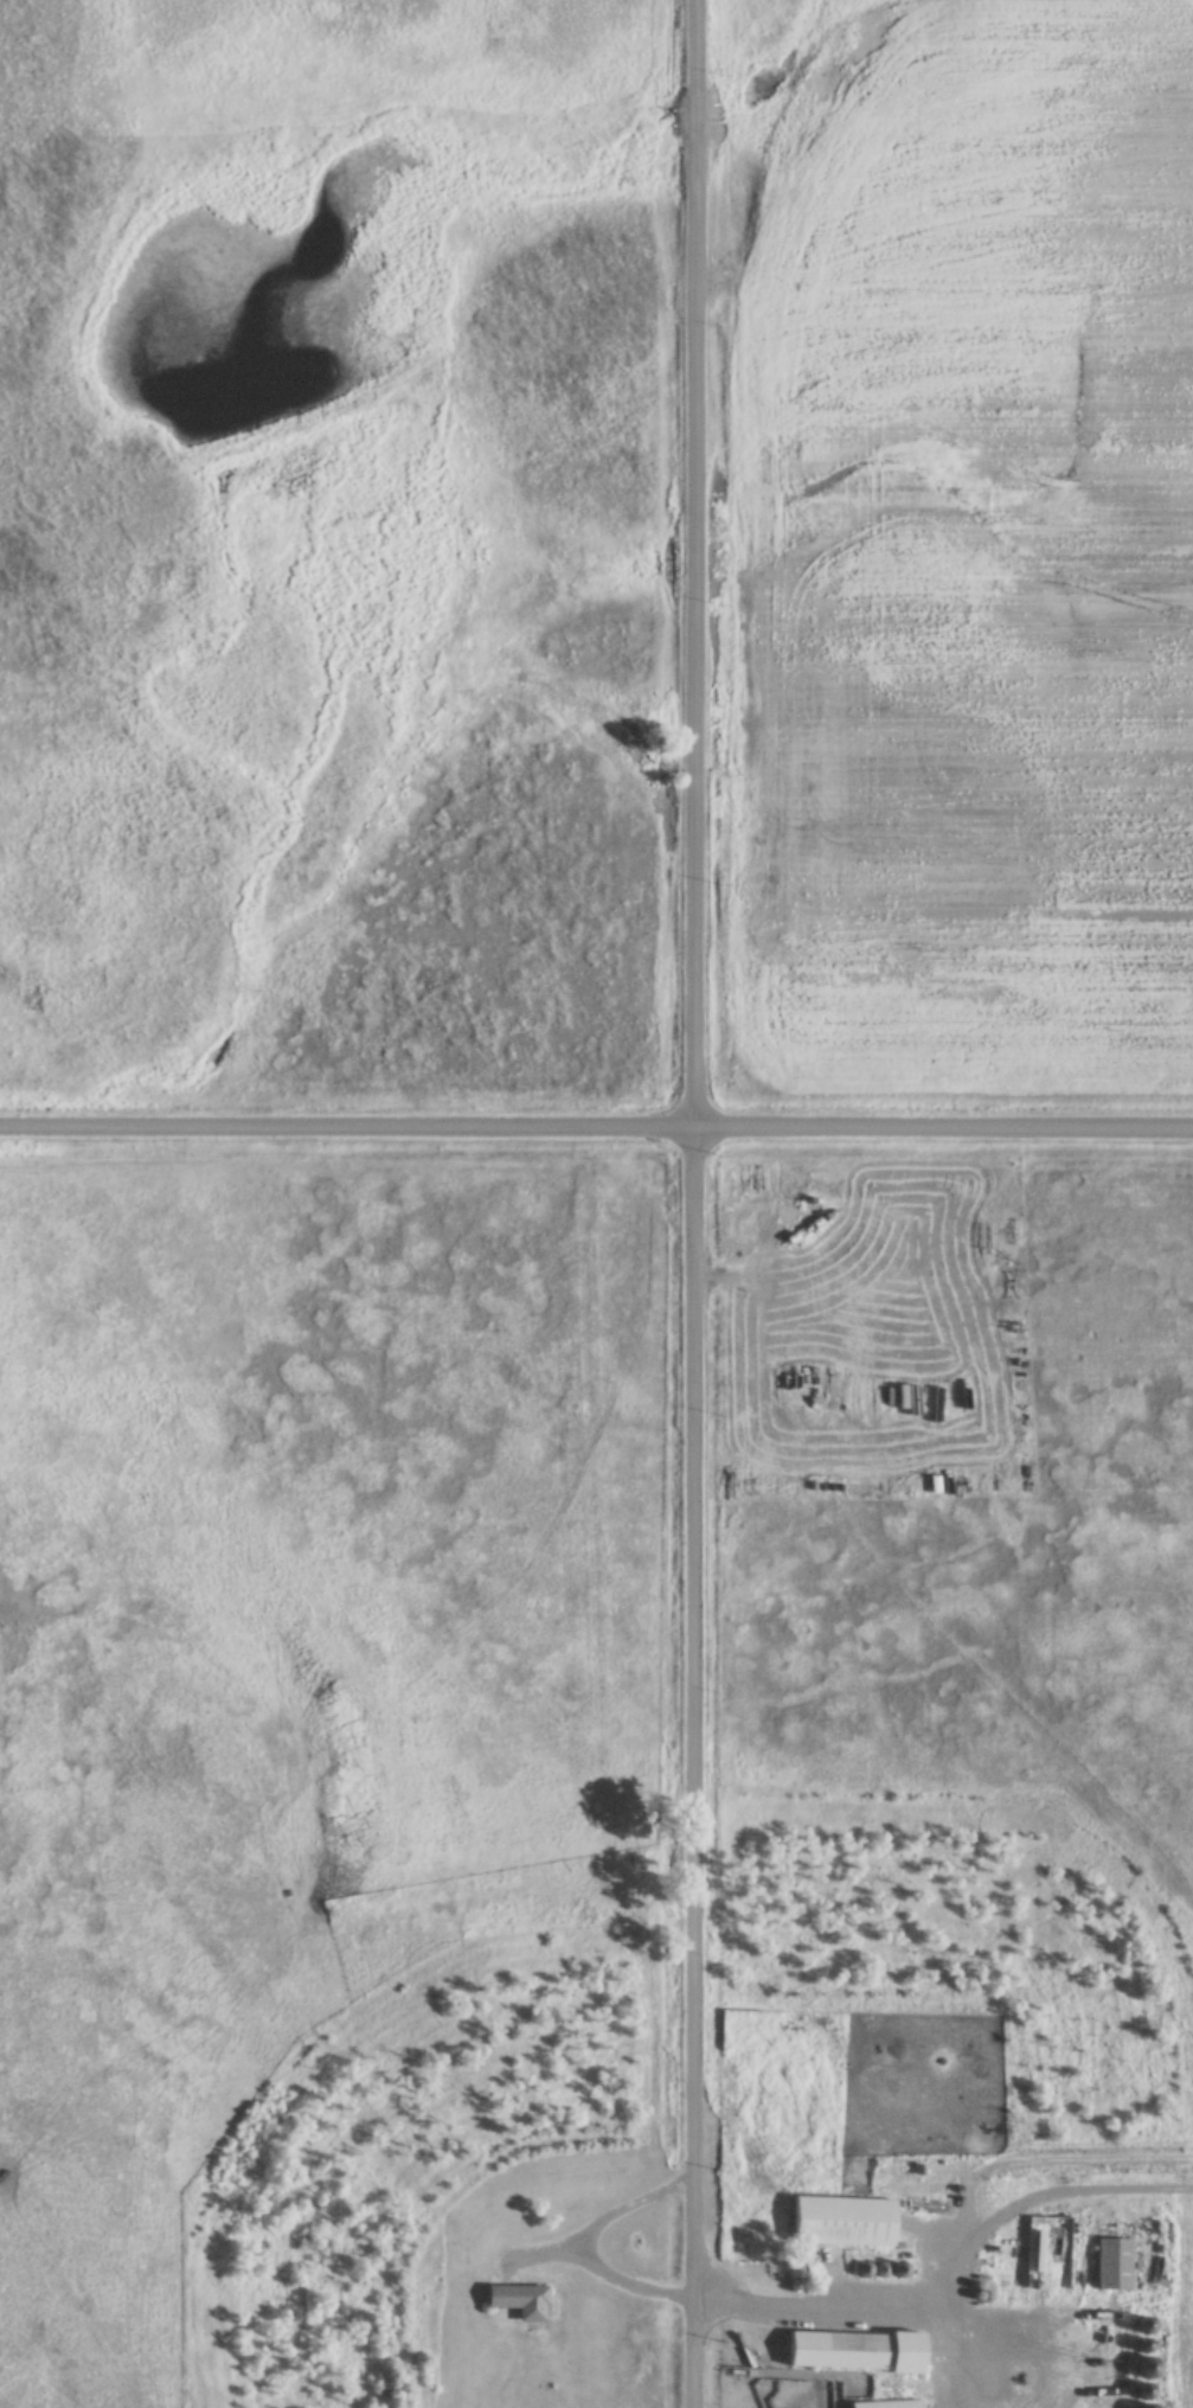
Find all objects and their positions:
road: (596, 1126)
road: (695, 1203)
building: (839, 2221)
building: (1111, 2263)
building: (517, 2301)
building: (851, 2351)
building: (1143, 2368)
building: (883, 2404)
building: (1141, 2406)

